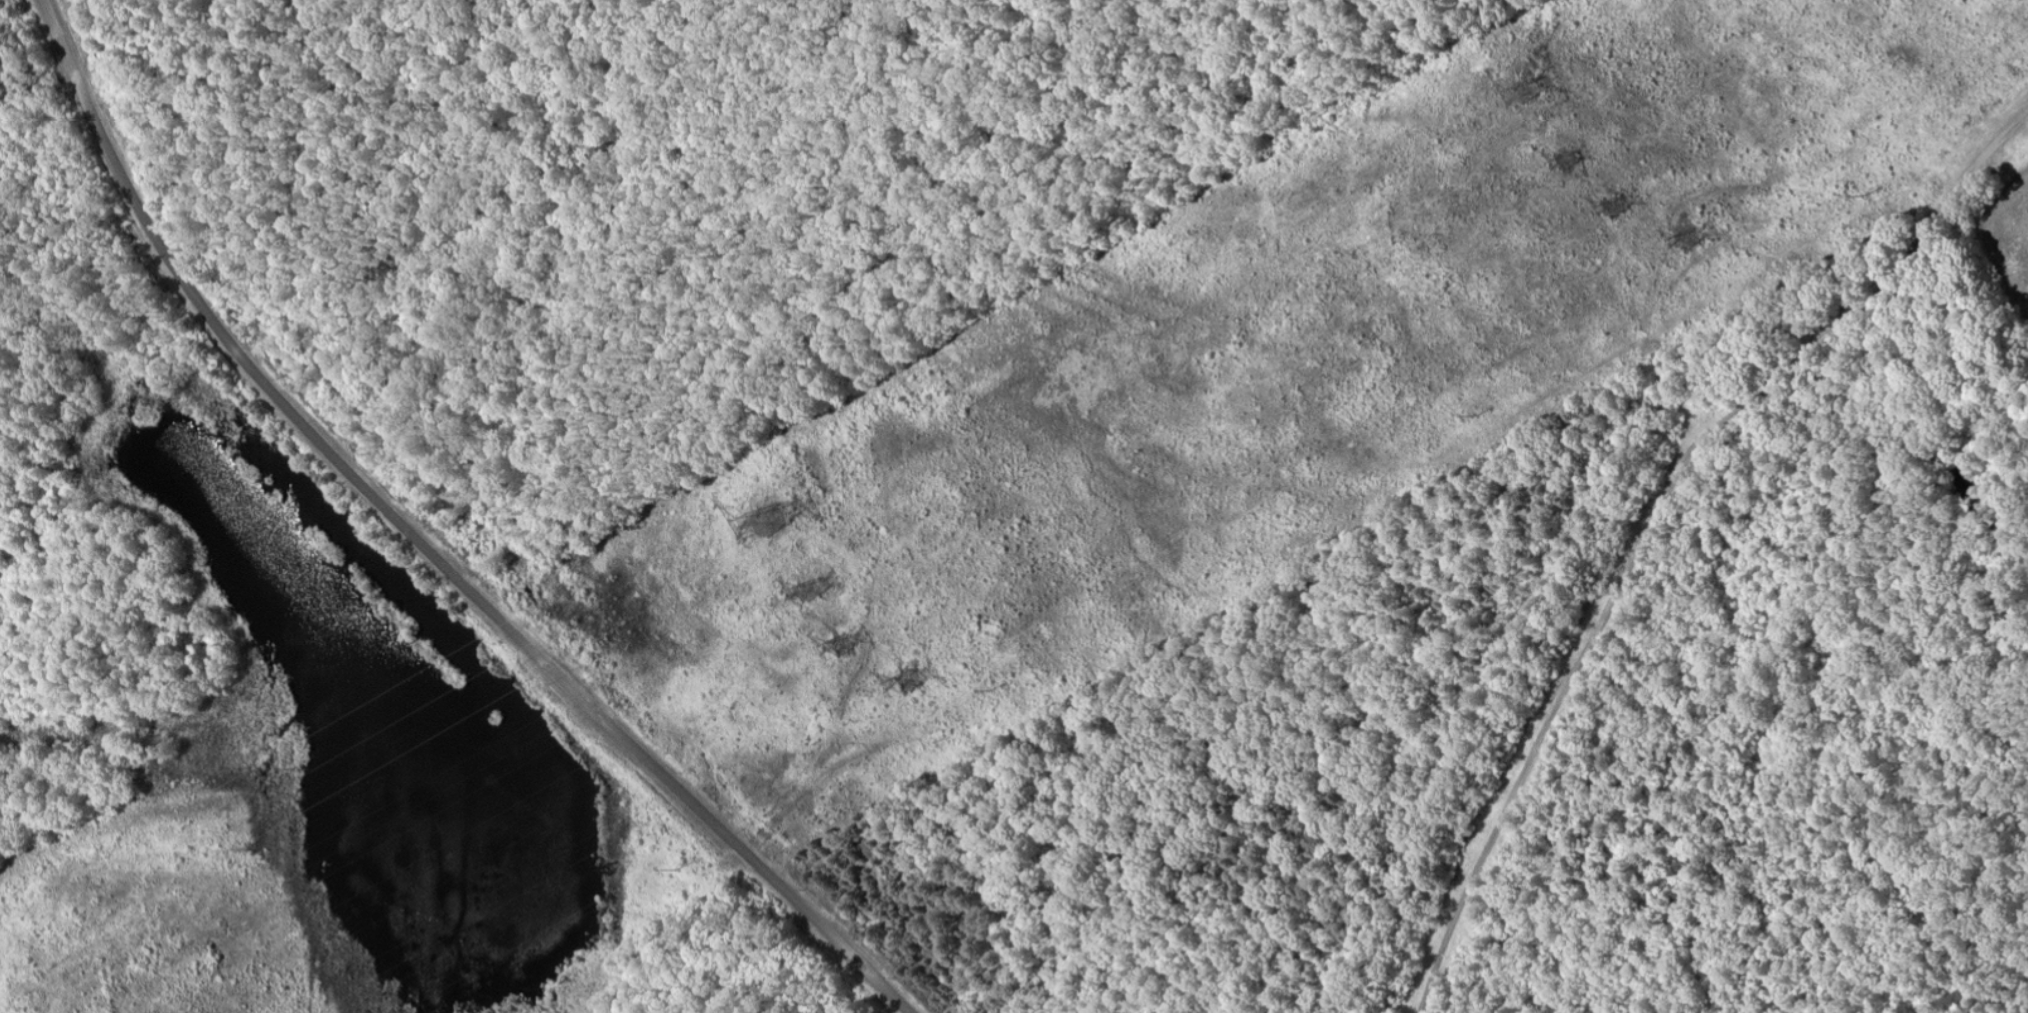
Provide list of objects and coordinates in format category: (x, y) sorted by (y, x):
power tower: (1545, 66)
power tower: (1568, 159)
power tower: (1619, 205)
power tower: (782, 519)
road: (425, 544)
power tower: (817, 589)
road: (1607, 628)
power tower: (841, 649)
power tower: (917, 682)
power tower: (296, 776)

